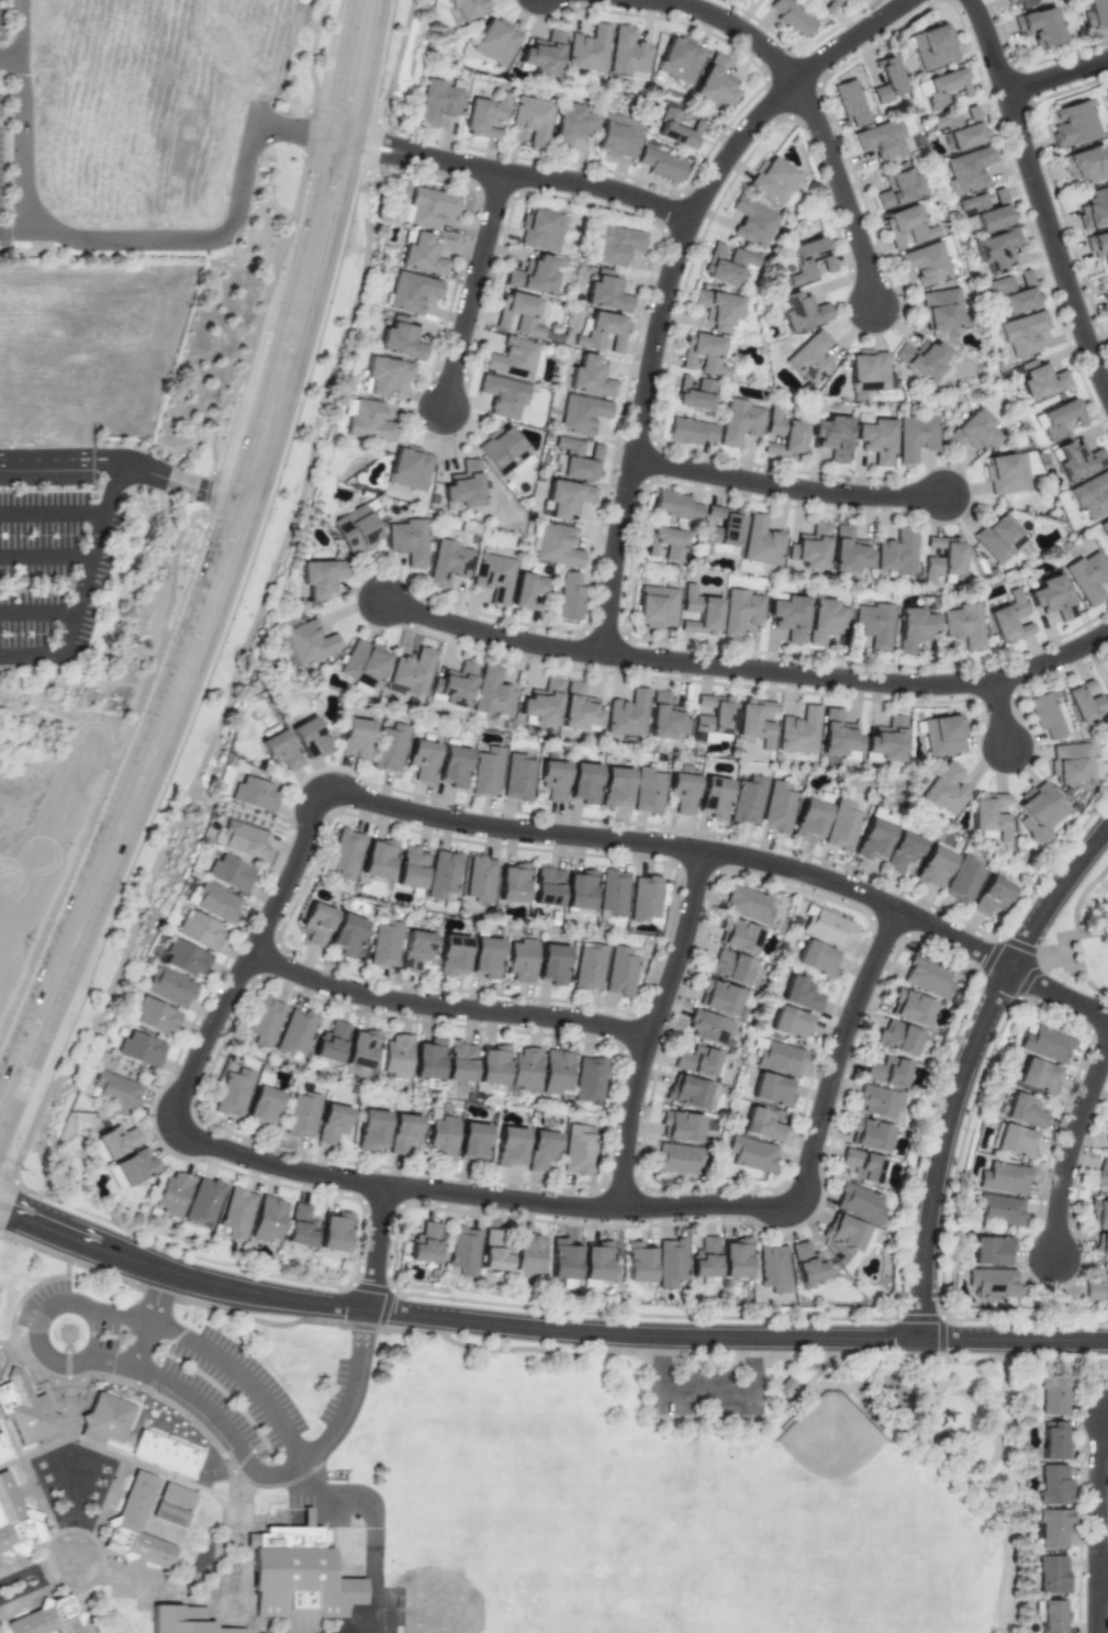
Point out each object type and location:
building: (1007, 0)
building: (818, 2)
building: (828, 7)
building: (468, 8)
building: (1095, 13)
building: (791, 16)
road: (732, 24)
building: (1038, 26)
building: (495, 42)
building: (932, 44)
building: (587, 49)
building: (542, 53)
building: (627, 54)
street lamp: (323, 55)
road: (10, 58)
building: (679, 59)
road: (340, 69)
road: (369, 71)
road: (1057, 77)
building: (886, 80)
building: (714, 81)
street lamp: (395, 83)
building: (944, 86)
building: (1107, 92)
street lamp: (37, 102)
building: (436, 102)
building: (850, 102)
road: (257, 114)
building: (483, 115)
building: (530, 119)
building: (571, 123)
building: (1073, 123)
building: (961, 126)
building: (676, 127)
building: (616, 136)
road: (342, 141)
building: (881, 141)
street lamp: (286, 145)
building: (660, 164)
building: (1085, 164)
building: (966, 170)
road: (525, 177)
building: (772, 180)
building: (897, 187)
road: (844, 193)
street lamp: (228, 194)
road: (1039, 194)
building: (429, 206)
building: (1094, 208)
building: (987, 210)
building: (751, 222)
building: (969, 224)
building: (906, 225)
street lamp: (168, 226)
street lamp: (87, 228)
building: (541, 228)
street lamp: (277, 231)
road: (22, 233)
road: (304, 235)
road: (110, 241)
building: (615, 244)
building: (1097, 246)
building: (995, 250)
road: (331, 251)
building: (422, 256)
building: (810, 259)
building: (925, 264)
building: (726, 265)
building: (533, 275)
building: (1107, 275)
road: (671, 281)
building: (1015, 290)
road: (475, 291)
building: (411, 292)
building: (606, 293)
building: (1106, 297)
building: (717, 309)
building: (940, 309)
building: (803, 310)
building: (518, 314)
building: (603, 332)
building: (1023, 333)
building: (401, 340)
street lamp: (333, 345)
building: (703, 354)
building: (516, 358)
building: (810, 358)
building: (921, 358)
building: (869, 371)
building: (385, 374)
building: (590, 378)
building: (1041, 379)
building: (502, 395)
building: (581, 414)
road: (253, 416)
building: (1057, 418)
building: (367, 421)
building: (740, 422)
building: (690, 430)
building: (973, 430)
road: (279, 434)
building: (782, 435)
building: (831, 435)
building: (916, 435)
building: (874, 436)
building: (503, 452)
building: (574, 459)
building: (1075, 459)
road: (60, 460)
building: (408, 468)
street lamp: (209, 472)
building: (1005, 472)
building: (462, 486)
road: (790, 489)
building: (1090, 495)
building: (566, 497)
building: (675, 506)
road: (54, 513)
building: (1104, 527)
building: (355, 529)
road: (102, 530)
building: (719, 532)
building: (999, 538)
building: (406, 540)
building: (761, 540)
building: (665, 543)
building: (553, 545)
building: (808, 547)
building: (848, 551)
building: (896, 551)
road: (47, 558)
building: (941, 558)
building: (447, 562)
building: (321, 575)
building: (492, 575)
building: (1087, 575)
road: (43, 584)
building: (526, 591)
building: (569, 596)
building: (1051, 596)
street lamp: (244, 606)
building: (656, 606)
building: (740, 611)
building: (697, 612)
road: (40, 613)
building: (787, 614)
building: (1009, 618)
building: (825, 619)
building: (872, 624)
building: (962, 625)
building: (913, 627)
road: (493, 635)
building: (307, 641)
building: (362, 663)
building: (411, 672)
road: (24, 678)
road: (860, 681)
building: (451, 685)
building: (491, 692)
building: (1107, 697)
road: (59, 701)
building: (1083, 701)
building: (541, 702)
street lamp: (121, 705)
building: (578, 707)
building: (626, 714)
road: (1003, 714)
building: (1044, 715)
building: (664, 717)
building: (712, 719)
building: (754, 722)
building: (798, 731)
building: (837, 736)
building: (942, 736)
building: (309, 738)
building: (355, 738)
building: (884, 741)
building: (389, 748)
building: (279, 749)
building: (421, 759)
building: (1070, 762)
building: (452, 767)
building: (1095, 768)
building: (485, 771)
building: (516, 778)
building: (551, 780)
building: (582, 782)
building: (614, 787)
building: (647, 791)
building: (680, 792)
building: (942, 792)
building: (254, 794)
building: (713, 796)
building: (746, 799)
building: (775, 807)
building: (1037, 810)
building: (988, 814)
road: (127, 816)
road: (248, 816)
building: (808, 819)
building: (840, 826)
street lamp: (163, 830)
building: (873, 836)
building: (243, 838)
building: (900, 851)
building: (344, 853)
road: (730, 854)
building: (377, 859)
building: (933, 865)
building: (410, 866)
building: (231, 873)
building: (443, 875)
building: (479, 879)
building: (962, 880)
building: (512, 882)
building: (546, 885)
building: (579, 888)
building: (613, 892)
building: (989, 896)
building: (643, 897)
building: (214, 902)
building: (748, 904)
building: (316, 924)
street lamp: (281, 927)
building: (825, 927)
building: (200, 930)
building: (346, 935)
building: (738, 936)
street lamp: (26, 939)
building: (384, 942)
building: (415, 949)
building: (452, 954)
building: (184, 958)
building: (484, 958)
building: (816, 958)
building: (519, 961)
building: (551, 964)
building: (589, 966)
building: (728, 966)
street lamp: (687, 969)
building: (619, 972)
building: (926, 977)
building: (169, 987)
street lamp: (430, 991)
building: (799, 994)
building: (717, 997)
street lamp: (323, 999)
building: (910, 1007)
road: (449, 1008)
building: (154, 1016)
street lamp: (198, 1020)
building: (264, 1022)
building: (790, 1024)
building: (708, 1027)
road: (656, 1028)
street lamp: (513, 1030)
building: (294, 1031)
building: (897, 1038)
building: (329, 1042)
building: (1044, 1043)
flagpole: (477, 1044)
building: (141, 1049)
building: (360, 1049)
building: (395, 1055)
building: (779, 1056)
road: (200, 1058)
building: (427, 1059)
building: (459, 1061)
building: (695, 1061)
building: (492, 1064)
street lamp: (626, 1067)
road: (967, 1067)
building: (524, 1069)
building: (556, 1071)
building: (886, 1071)
building: (1036, 1075)
building: (587, 1078)
building: (116, 1089)
building: (771, 1089)
building: (687, 1090)
building: (233, 1093)
building: (878, 1101)
building: (261, 1105)
building: (1021, 1110)
building: (301, 1112)
building: (331, 1122)
building: (761, 1125)
building: (680, 1127)
building: (370, 1129)
building: (403, 1133)
building: (869, 1134)
building: (1106, 1136)
building: (440, 1138)
building: (116, 1140)
street lamp: (153, 1140)
building: (472, 1141)
building: (1015, 1141)
building: (510, 1145)
building: (540, 1149)
building: (577, 1149)
street lamp: (272, 1151)
building: (1107, 1151)
road: (1071, 1152)
building: (751, 1153)
building: (676, 1157)
building: (861, 1165)
building: (131, 1167)
street lamp: (21, 1172)
building: (1101, 1174)
building: (1004, 1178)
building: (172, 1193)
building: (202, 1201)
building: (859, 1203)
road: (686, 1207)
building: (999, 1209)
building: (236, 1212)
building: (1098, 1215)
traffic signals: (16, 1216)
building: (267, 1218)
building: (299, 1226)
building: (333, 1231)
building: (848, 1232)
street lamp: (4, 1240)
building: (424, 1243)
building: (1100, 1248)
building: (463, 1250)
building: (991, 1250)
building: (493, 1252)
building: (528, 1254)
building: (704, 1257)
building: (735, 1257)
building: (595, 1260)
building: (638, 1261)
building: (670, 1262)
building: (806, 1262)
building: (772, 1268)
building: (992, 1282)
building: (1097, 1288)
street lamp: (451, 1304)
road: (136, 1316)
road: (454, 1319)
road: (154, 1321)
road: (1015, 1341)
road: (708, 1392)
building: (1053, 1394)
building: (25, 1411)
building: (104, 1419)
road: (996, 1423)
building: (1053, 1441)
building: (3, 1451)
building: (164, 1453)
road: (955, 1467)
road: (288, 1472)
building: (1053, 1485)
building: (176, 1495)
park: (846, 1496)
road: (1099, 1499)
building: (15, 1520)
building: (136, 1523)
building: (1053, 1528)
building: (1051, 1574)
building: (298, 1575)
road: (1099, 1600)
building: (1051, 1617)
building: (46, 1619)
building: (183, 1620)

